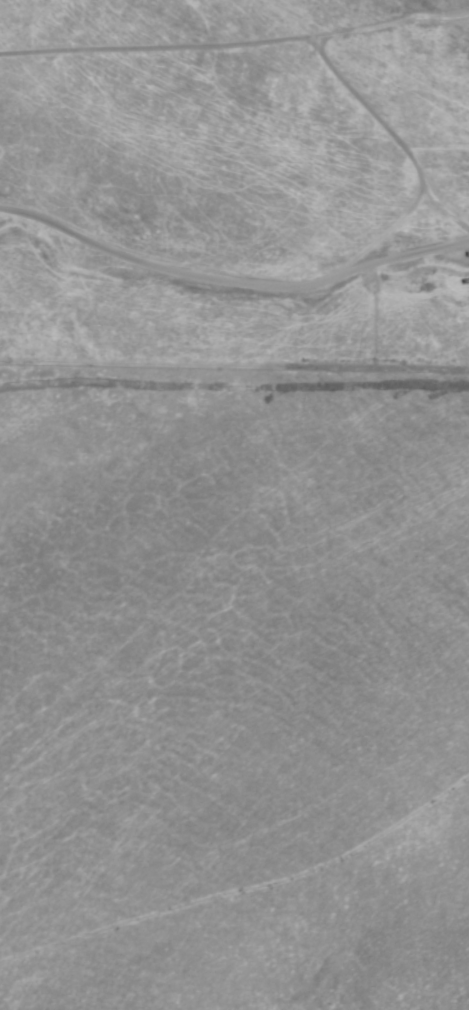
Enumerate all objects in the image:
crop: (212, 462)

